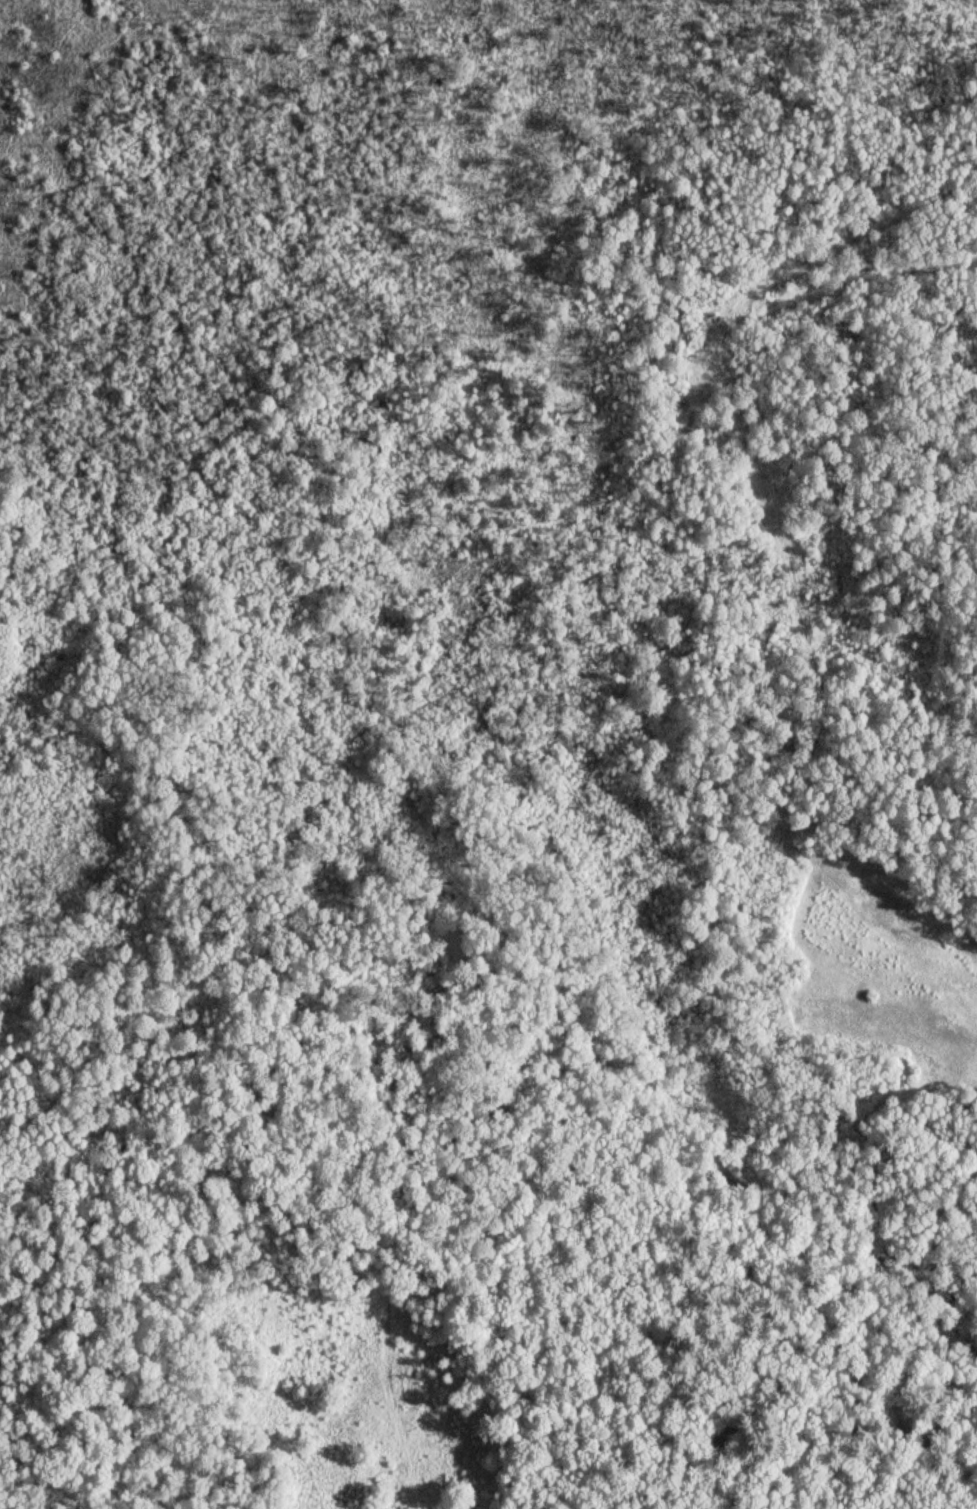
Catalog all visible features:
road: (856, 1230)

